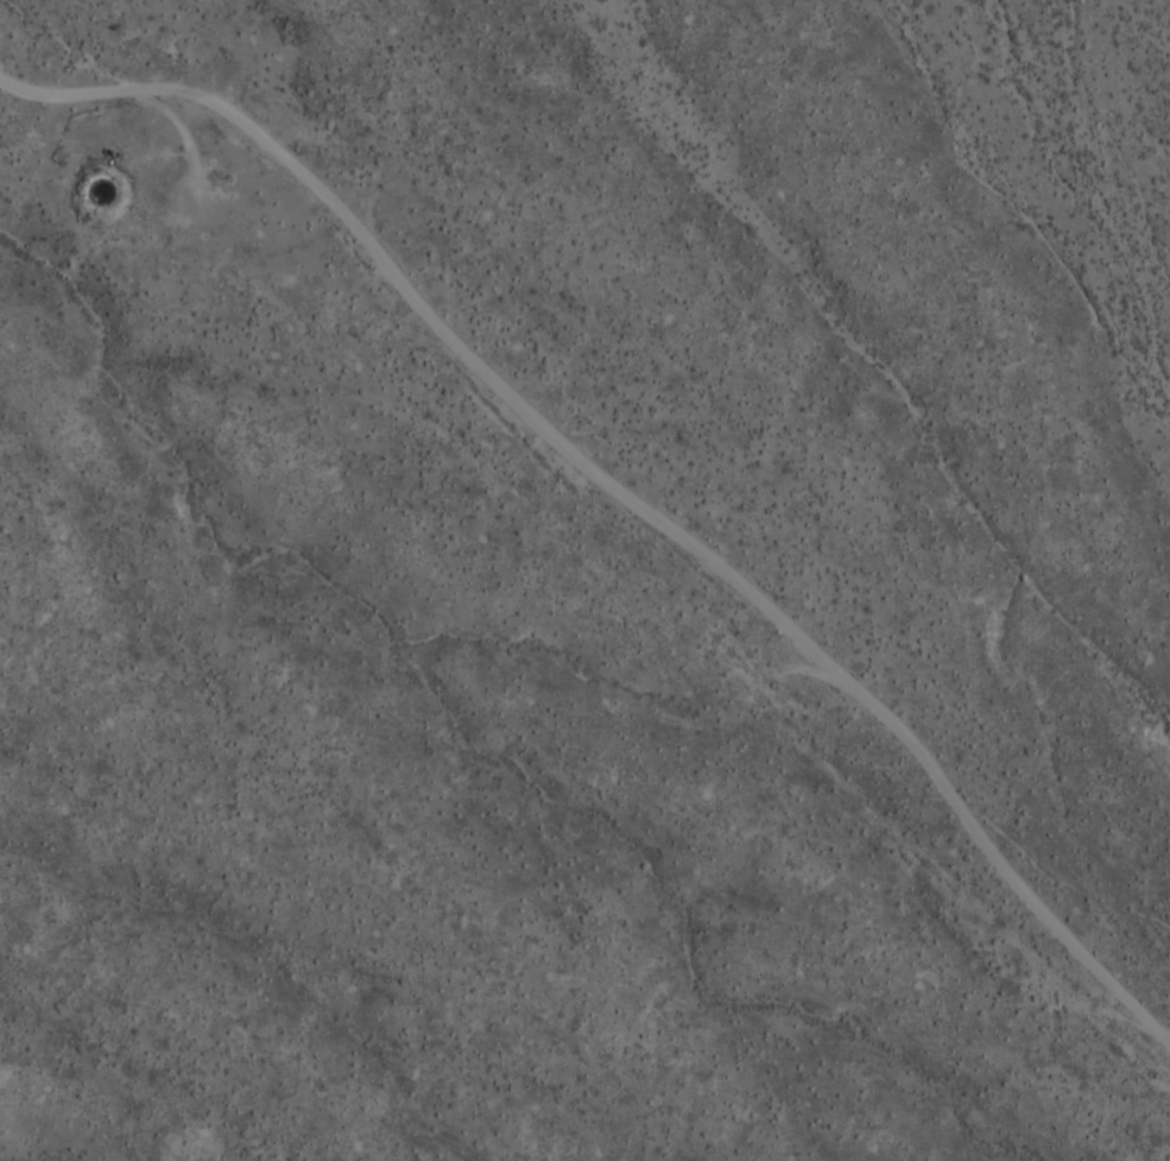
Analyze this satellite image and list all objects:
road: (609, 484)

